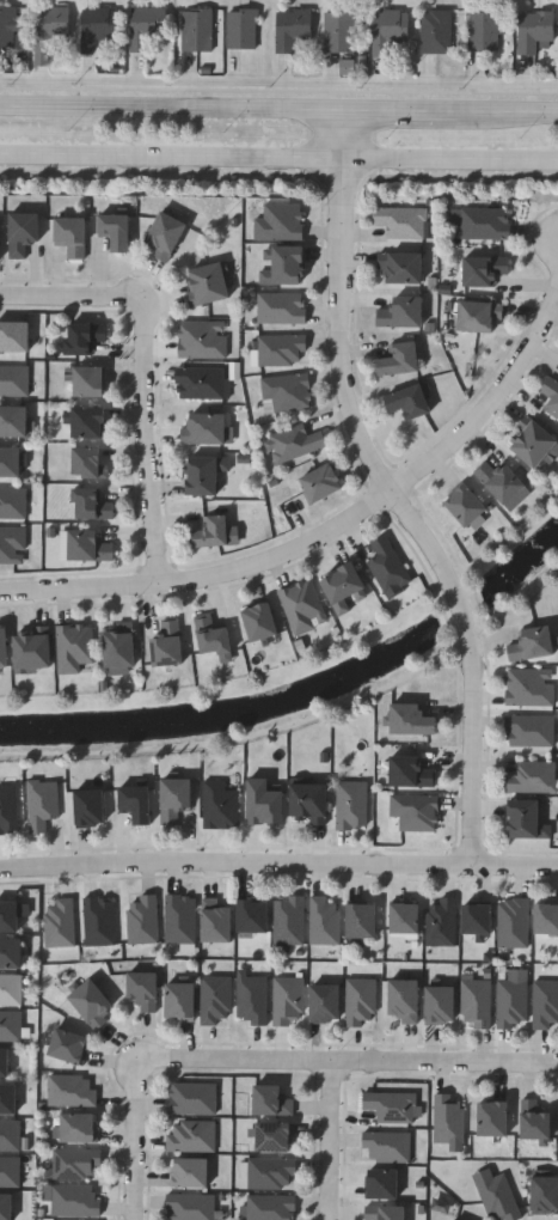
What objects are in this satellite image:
building: (51, 23)
building: (8, 24)
building: (145, 25)
building: (241, 26)
building: (196, 28)
building: (488, 28)
building: (534, 28)
building: (99, 29)
building: (294, 29)
building: (339, 29)
building: (388, 29)
building: (436, 30)
road: (172, 106)
road: (401, 109)
road: (508, 110)
road: (344, 134)
road: (278, 158)
building: (280, 221)
building: (401, 221)
building: (482, 222)
building: (116, 231)
building: (23, 232)
building: (166, 234)
building: (72, 236)
building: (1, 244)
building: (283, 266)
building: (401, 268)
building: (484, 270)
building: (208, 282)
road: (78, 298)
building: (281, 307)
building: (401, 312)
building: (480, 316)
building: (14, 336)
building: (85, 336)
building: (202, 338)
building: (282, 349)
building: (401, 359)
building: (14, 379)
building: (91, 380)
building: (202, 383)
road: (344, 385)
building: (287, 392)
building: (551, 395)
building: (409, 401)
road: (491, 402)
building: (14, 420)
building: (88, 421)
building: (204, 428)
building: (296, 441)
building: (534, 444)
road: (147, 451)
building: (11, 460)
building: (88, 462)
building: (204, 472)
building: (323, 482)
building: (503, 482)
building: (13, 502)
building: (92, 504)
building: (468, 507)
building: (215, 532)
building: (12, 544)
building: (90, 545)
building: (387, 565)
road: (207, 578)
building: (344, 585)
building: (302, 606)
road: (464, 610)
building: (260, 621)
building: (213, 635)
building: (168, 643)
building: (533, 643)
building: (4, 647)
building: (75, 648)
building: (119, 648)
building: (33, 649)
building: (529, 685)
building: (412, 719)
building: (529, 730)
road: (473, 752)
building: (410, 771)
building: (533, 776)
building: (176, 798)
building: (137, 801)
building: (309, 801)
building: (42, 803)
building: (264, 803)
building: (220, 804)
building: (351, 804)
building: (90, 807)
building: (8, 809)
building: (416, 811)
building: (525, 818)
road: (278, 864)
building: (10, 916)
building: (253, 916)
building: (405, 917)
building: (143, 919)
building: (180, 919)
building: (546, 919)
building: (362, 920)
building: (478, 920)
building: (99, 921)
building: (289, 921)
building: (325, 921)
building: (60, 922)
building: (216, 922)
building: (441, 922)
building: (513, 922)
building: (11, 952)
building: (11, 989)
building: (143, 989)
building: (252, 998)
building: (514, 998)
building: (215, 1000)
building: (288, 1000)
building: (404, 1000)
building: (182, 1001)
building: (361, 1001)
building: (92, 1002)
building: (326, 1002)
building: (477, 1002)
building: (546, 1002)
building: (441, 1004)
building: (11, 1024)
building: (69, 1045)
road: (349, 1061)
building: (5, 1062)
building: (72, 1090)
building: (8, 1098)
building: (191, 1098)
building: (271, 1100)
building: (391, 1106)
building: (448, 1117)
building: (495, 1118)
building: (535, 1121)
building: (79, 1128)
building: (10, 1135)
building: (192, 1135)
building: (275, 1137)
road: (330, 1140)
road: (136, 1142)
building: (387, 1146)
building: (75, 1163)
building: (10, 1171)
building: (190, 1172)
building: (271, 1172)
building: (382, 1183)
building: (545, 1195)
building: (499, 1198)
building: (73, 1200)
building: (6, 1207)
building: (191, 1207)
building: (271, 1207)
building: (385, 1213)

